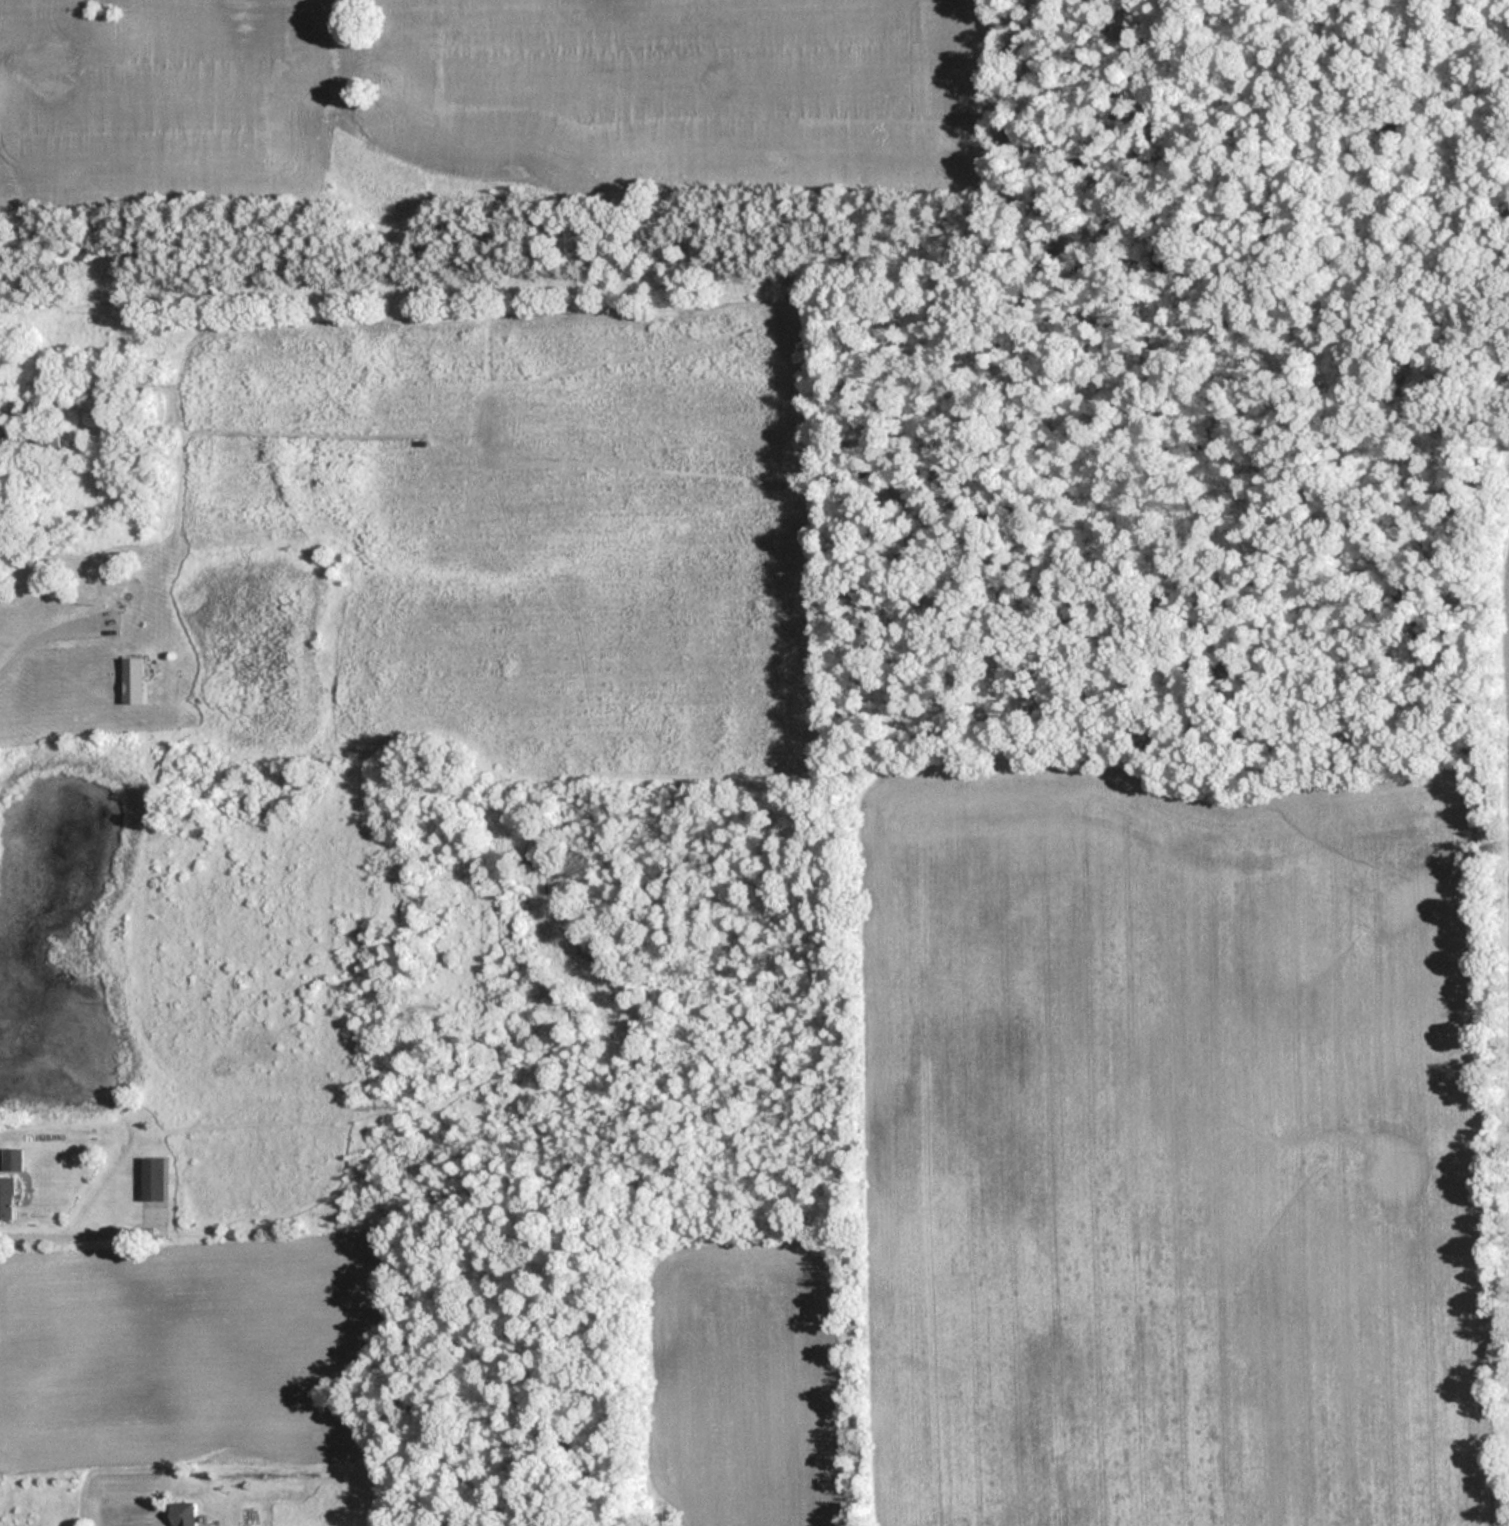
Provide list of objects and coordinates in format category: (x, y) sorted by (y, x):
building: (48, 441)
road: (24, 643)
building: (132, 679)
building: (152, 1179)
building: (6, 1198)
road: (73, 1235)
building: (181, 1514)

